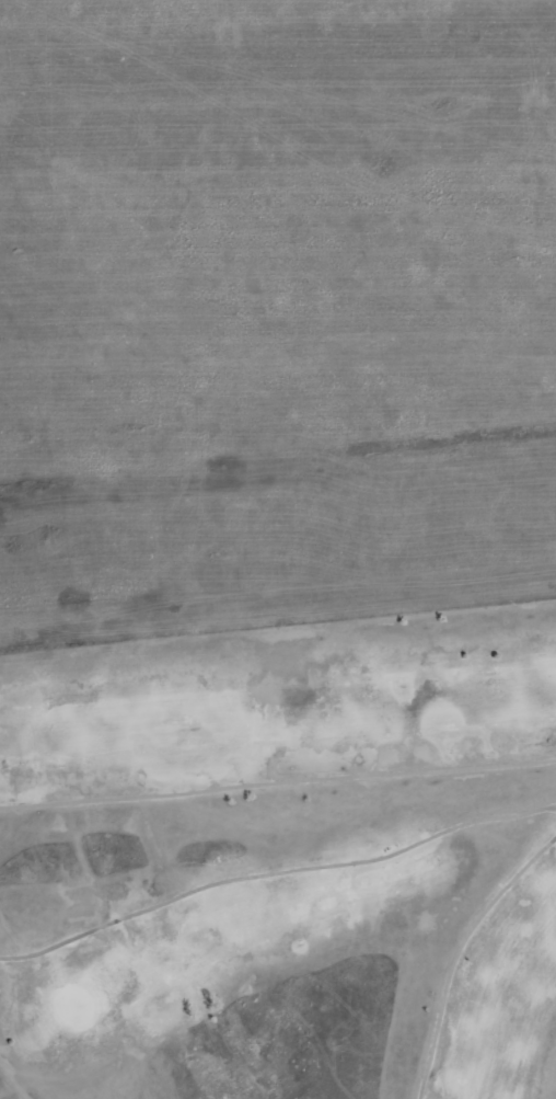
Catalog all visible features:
road: (277, 782)
park: (282, 860)
road: (275, 872)
road: (459, 953)

